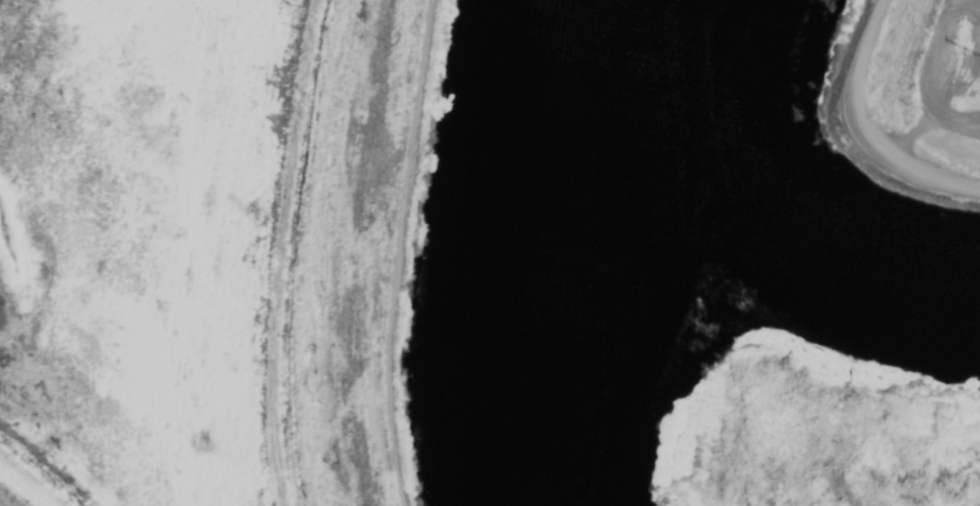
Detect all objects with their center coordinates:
crop: (972, 47)
road: (859, 131)
crop: (209, 246)
river: (566, 250)

